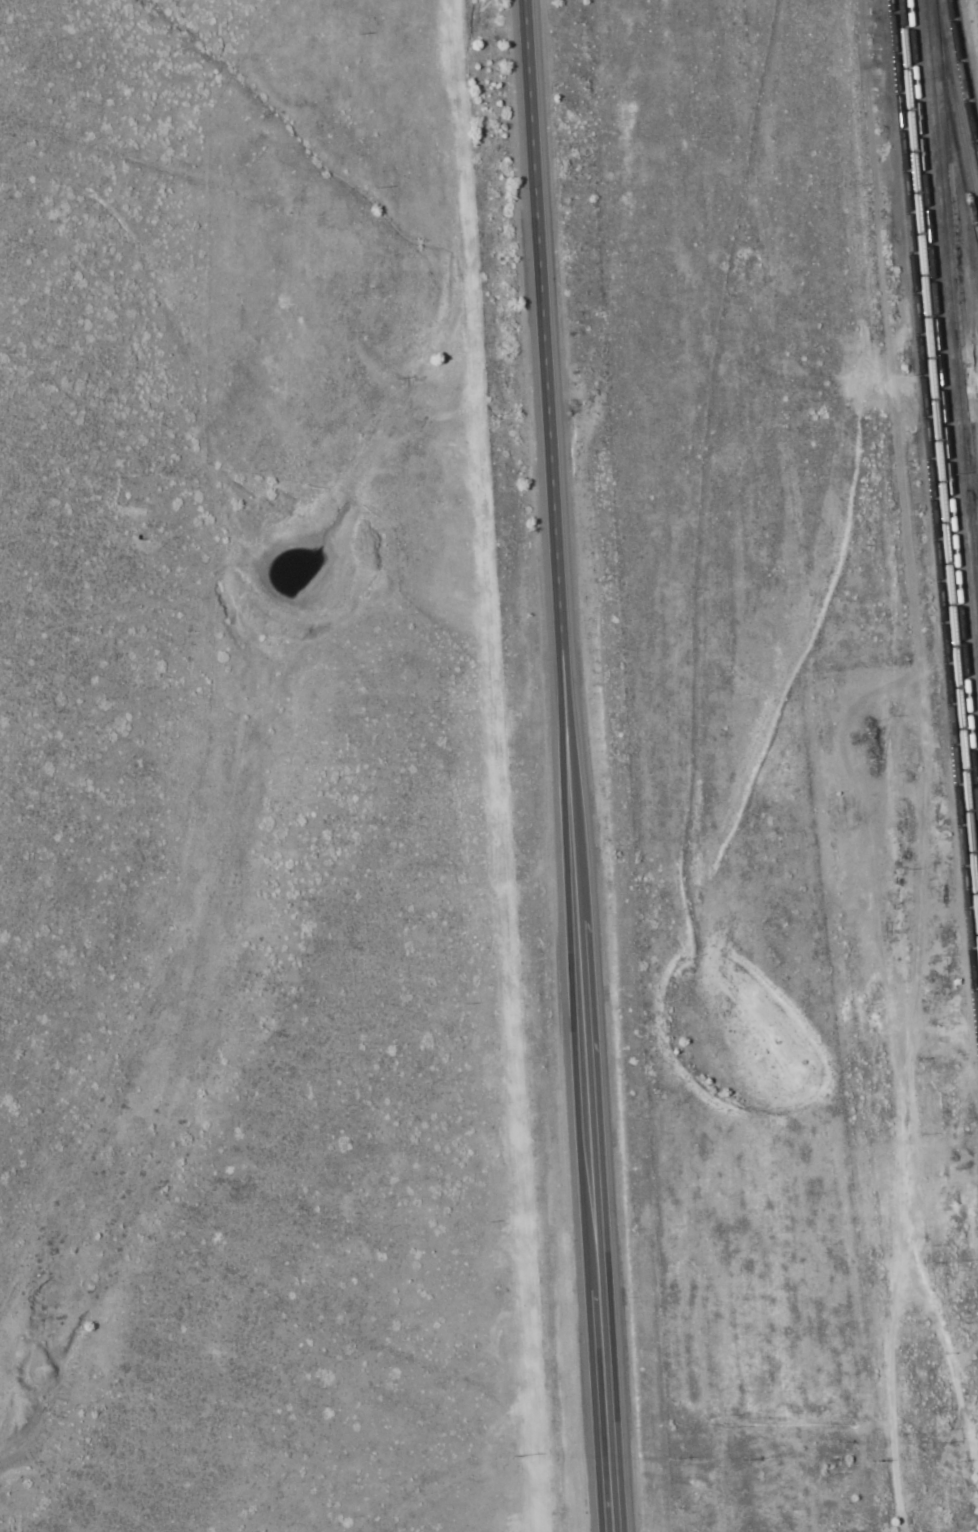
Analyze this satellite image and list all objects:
railway: (967, 57)
railway: (962, 81)
railway: (958, 110)
railway: (960, 158)
railway: (958, 240)
railway: (971, 258)
railway: (951, 301)
railway: (942, 400)
railway: (939, 456)
railway: (934, 516)
road: (569, 766)
road: (961, 1397)

